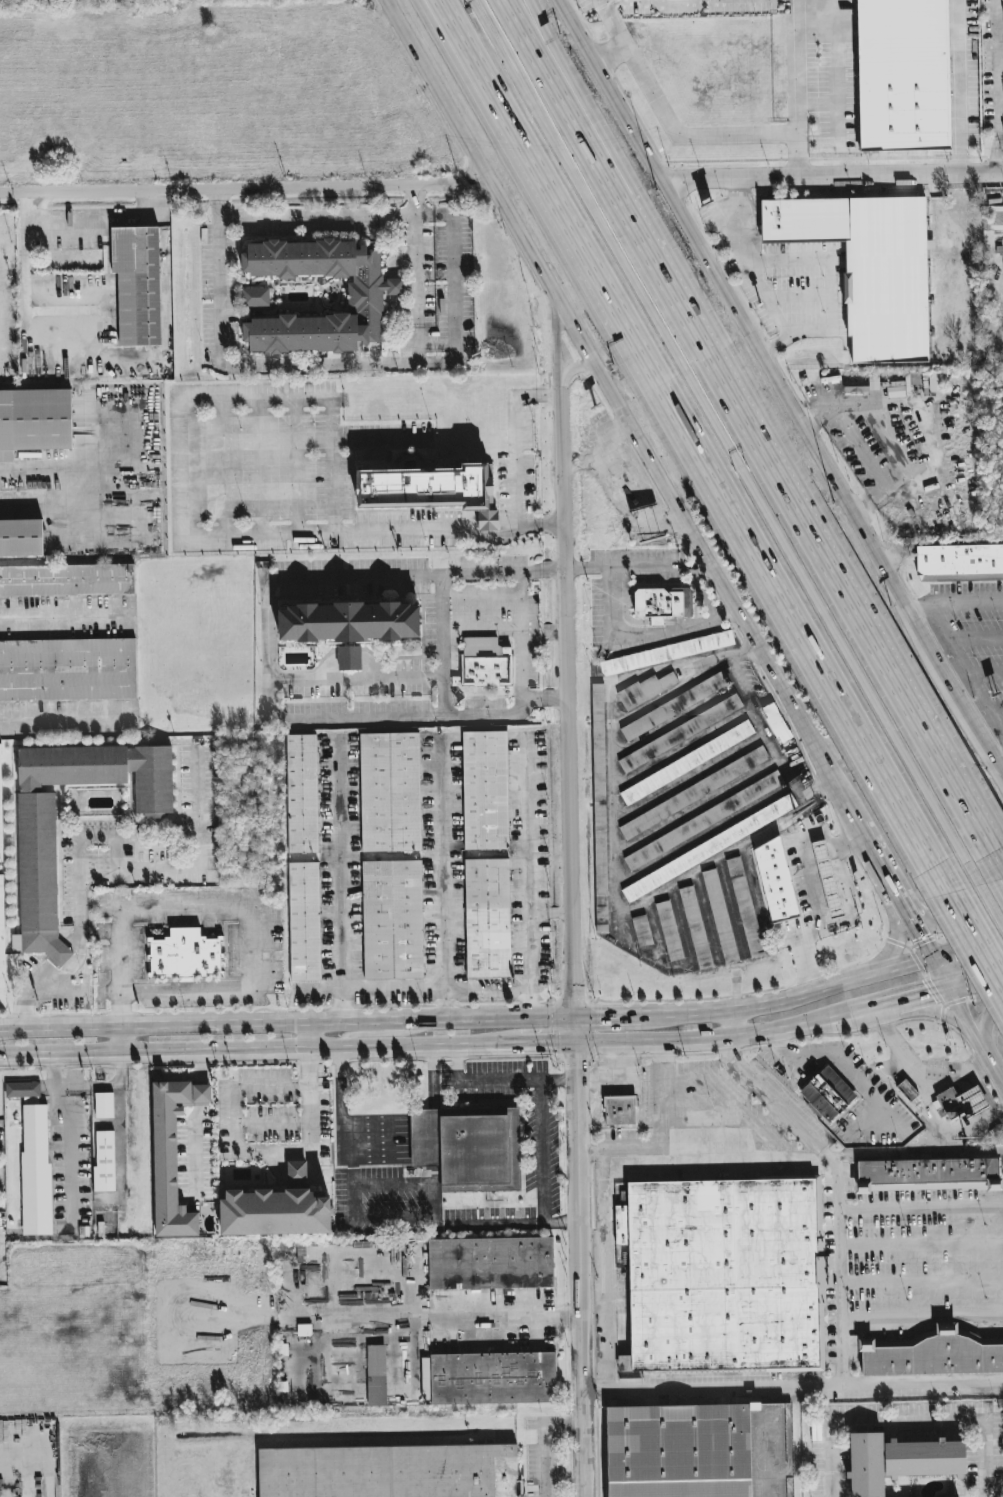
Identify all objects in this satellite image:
road: (615, 3)
road: (460, 49)
road: (465, 49)
road: (799, 59)
building: (905, 74)
road: (564, 86)
road: (571, 86)
road: (959, 86)
road: (996, 86)
road: (686, 135)
road: (800, 147)
road: (833, 175)
road: (248, 189)
road: (415, 199)
road: (219, 204)
road: (434, 214)
road: (317, 215)
building: (995, 218)
road: (91, 219)
road: (415, 222)
road: (965, 256)
building: (870, 266)
road: (781, 280)
building: (136, 283)
building: (255, 297)
road: (29, 302)
building: (364, 304)
road: (456, 308)
road: (559, 349)
road: (766, 356)
road: (310, 364)
road: (573, 368)
building: (935, 380)
road: (619, 404)
building: (34, 420)
road: (886, 422)
road: (374, 438)
road: (727, 442)
road: (516, 467)
road: (28, 472)
building: (428, 489)
road: (184, 496)
road: (720, 496)
road: (808, 512)
building: (20, 537)
building: (959, 563)
road: (270, 576)
building: (67, 584)
road: (481, 592)
road: (953, 600)
building: (661, 604)
road: (68, 620)
building: (348, 621)
road: (443, 629)
road: (481, 630)
road: (554, 635)
road: (540, 638)
road: (641, 638)
road: (521, 642)
building: (666, 653)
building: (486, 670)
building: (67, 673)
road: (374, 684)
building: (646, 689)
building: (674, 706)
road: (67, 721)
building: (776, 723)
building: (680, 733)
road: (985, 744)
road: (999, 760)
building: (686, 763)
building: (693, 793)
building: (486, 795)
building: (390, 796)
building: (303, 798)
building: (599, 808)
building: (0, 817)
road: (864, 828)
road: (99, 838)
building: (152, 841)
road: (829, 847)
building: (708, 848)
road: (820, 850)
road: (804, 855)
road: (796, 860)
road: (835, 864)
road: (825, 866)
road: (808, 870)
road: (887, 870)
road: (340, 872)
road: (445, 879)
building: (827, 879)
road: (838, 879)
building: (775, 881)
road: (828, 882)
building: (38, 884)
road: (812, 888)
building: (808, 896)
gas station: (808, 896)
road: (845, 900)
road: (835, 903)
parking lot: (2, 904)
road: (992, 904)
building: (744, 907)
road: (818, 908)
road: (154, 910)
building: (720, 916)
road: (894, 916)
road: (848, 917)
building: (489, 923)
road: (947, 923)
building: (393, 925)
building: (305, 926)
building: (695, 927)
building: (641, 931)
building: (669, 931)
road: (924, 935)
road: (975, 944)
road: (574, 945)
building: (1, 949)
road: (259, 949)
building: (184, 954)
road: (973, 971)
traffic signals: (944, 981)
road: (542, 990)
road: (197, 993)
road: (794, 995)
road: (910, 995)
road: (926, 1010)
road: (343, 1011)
road: (961, 1013)
road: (607, 1015)
traffic signals: (576, 1016)
road: (736, 1020)
road: (287, 1021)
road: (122, 1022)
road: (1, 1028)
road: (380, 1033)
road: (727, 1033)
road: (309, 1035)
road: (986, 1039)
road: (548, 1043)
traffic signals: (577, 1043)
road: (259, 1049)
road: (990, 1061)
road: (120, 1066)
road: (200, 1067)
road: (909, 1067)
road: (53, 1069)
road: (953, 1071)
road: (1002, 1078)
road: (558, 1079)
road: (87, 1082)
road: (339, 1084)
road: (260, 1088)
building: (22, 1089)
building: (906, 1090)
road: (540, 1091)
road: (198, 1093)
building: (826, 1095)
road: (875, 1103)
building: (960, 1103)
building: (102, 1106)
building: (619, 1113)
building: (467, 1147)
road: (198, 1151)
road: (916, 1151)
building: (170, 1157)
building: (103, 1161)
building: (972, 1168)
building: (34, 1169)
road: (93, 1198)
road: (921, 1206)
building: (276, 1209)
road: (602, 1210)
road: (398, 1219)
road: (507, 1220)
road: (922, 1244)
road: (841, 1262)
building: (489, 1263)
parking lot: (916, 1265)
building: (725, 1267)
road: (922, 1280)
road: (922, 1319)
road: (448, 1327)
building: (303, 1330)
building: (930, 1355)
building: (376, 1375)
building: (487, 1379)
road: (923, 1381)
road: (600, 1391)
road: (908, 1421)
road: (537, 1439)
building: (678, 1450)
building: (901, 1458)
building: (388, 1471)

